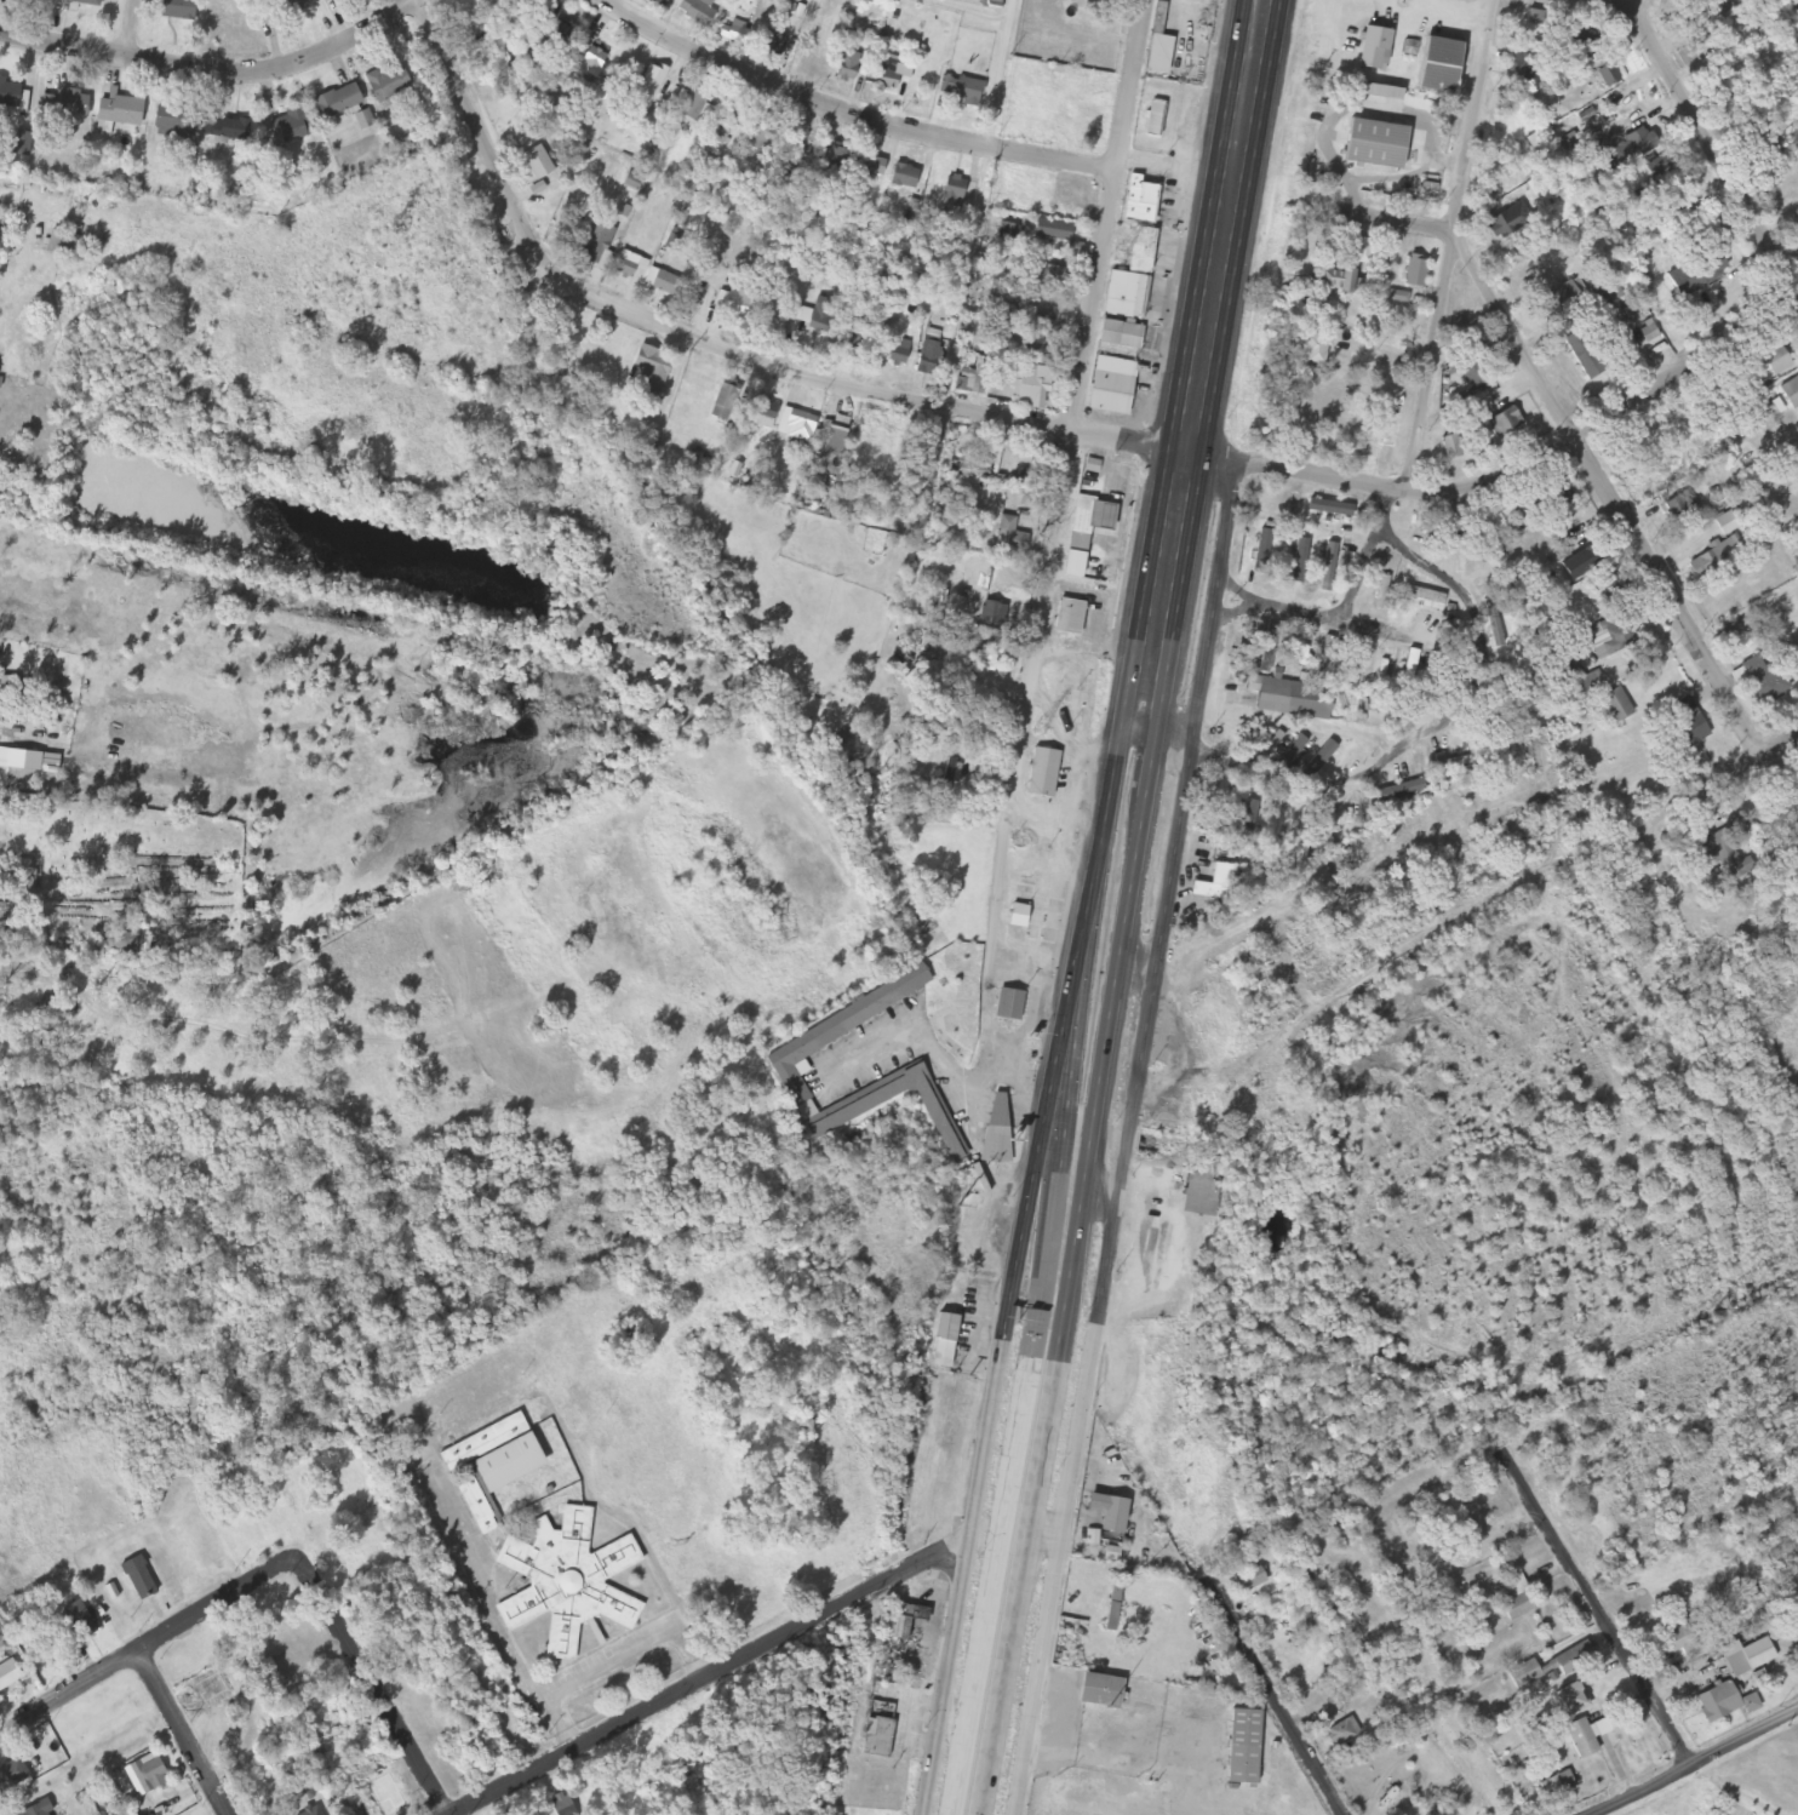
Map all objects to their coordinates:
building: (320, 0)
building: (664, 1)
building: (81, 2)
building: (1545, 4)
road: (1628, 4)
building: (291, 6)
building: (177, 10)
building: (698, 12)
road: (130, 28)
building: (733, 33)
building: (557, 39)
building: (1573, 39)
building: (1373, 50)
building: (1158, 55)
building: (591, 63)
building: (1437, 65)
building: (847, 67)
road: (210, 70)
building: (1519, 70)
building: (891, 73)
building: (1605, 76)
building: (521, 82)
building: (651, 82)
building: (386, 86)
building: (960, 91)
building: (11, 97)
building: (71, 103)
building: (337, 103)
building: (692, 107)
road: (853, 114)
building: (1153, 119)
building: (173, 122)
building: (729, 124)
building: (288, 127)
building: (227, 130)
building: (762, 137)
road: (1712, 142)
building: (21, 144)
building: (1625, 150)
building: (840, 161)
building: (537, 164)
building: (870, 166)
building: (904, 177)
building: (954, 191)
building: (1140, 194)
building: (1052, 200)
building: (1506, 222)
building: (1050, 230)
building: (1007, 235)
building: (62, 244)
road: (1450, 244)
building: (596, 247)
building: (1358, 251)
power tower: (1120, 257)
building: (1713, 267)
building: (819, 268)
building: (1413, 271)
building: (1053, 276)
building: (1130, 279)
building: (1333, 281)
building: (1395, 298)
building: (1558, 302)
building: (737, 305)
building: (821, 311)
building: (1046, 314)
building: (861, 336)
building: (1120, 336)
building: (893, 353)
building: (1037, 355)
building: (1582, 355)
building: (931, 357)
building: (1775, 361)
road: (1199, 362)
building: (651, 368)
building: (1471, 371)
building: (973, 379)
building: (1029, 388)
building: (1110, 394)
building: (1790, 394)
building: (725, 401)
building: (762, 413)
building: (1470, 416)
road: (1040, 422)
building: (1504, 423)
building: (796, 425)
building: (832, 436)
building: (1450, 447)
building: (972, 468)
road: (1605, 494)
building: (1557, 498)
building: (1727, 523)
building: (1084, 532)
building: (1009, 538)
building: (1299, 552)
building: (1588, 560)
building: (1707, 562)
building: (1328, 568)
road: (1047, 569)
building: (1611, 589)
building: (1381, 592)
building: (1425, 599)
building: (994, 616)
building: (1069, 618)
building: (1496, 623)
building: (1616, 635)
building: (1272, 648)
building: (1324, 659)
building: (1794, 665)
building: (1765, 681)
building: (1616, 706)
building: (1392, 710)
building: (1689, 723)
road: (1164, 729)
power tower: (1040, 731)
building: (1043, 773)
building: (949, 780)
building: (1407, 791)
building: (1246, 814)
road: (1104, 846)
building: (1722, 854)
building: (25, 874)
building: (1642, 874)
building: (1215, 884)
road: (1471, 915)
building: (1017, 916)
building: (1008, 1006)
building: (53, 1007)
building: (836, 1031)
road: (1107, 1042)
road: (1065, 1047)
building: (859, 1106)
building: (995, 1129)
road: (1130, 1139)
building: (1199, 1193)
road: (1103, 1195)
power tower: (958, 1208)
building: (943, 1341)
building: (493, 1466)
road: (985, 1468)
building: (1109, 1518)
road: (1043, 1548)
building: (139, 1579)
building: (568, 1580)
building: (1248, 1581)
road: (1018, 1588)
building: (1514, 1599)
road: (1601, 1614)
building: (80, 1620)
building: (901, 1622)
building: (1682, 1641)
road: (147, 1644)
building: (1750, 1660)
building: (1550, 1667)
power tower: (882, 1672)
building: (10, 1674)
road: (716, 1674)
road: (372, 1685)
building: (1100, 1691)
building: (1570, 1700)
road: (1279, 1702)
building: (1724, 1704)
building: (877, 1730)
road: (176, 1734)
building: (1342, 1734)
building: (1581, 1740)
building: (1243, 1747)
road: (1696, 1763)
building: (150, 1773)
building: (12, 1774)
building: (561, 1804)
building: (39, 1809)
building: (313, 1814)

